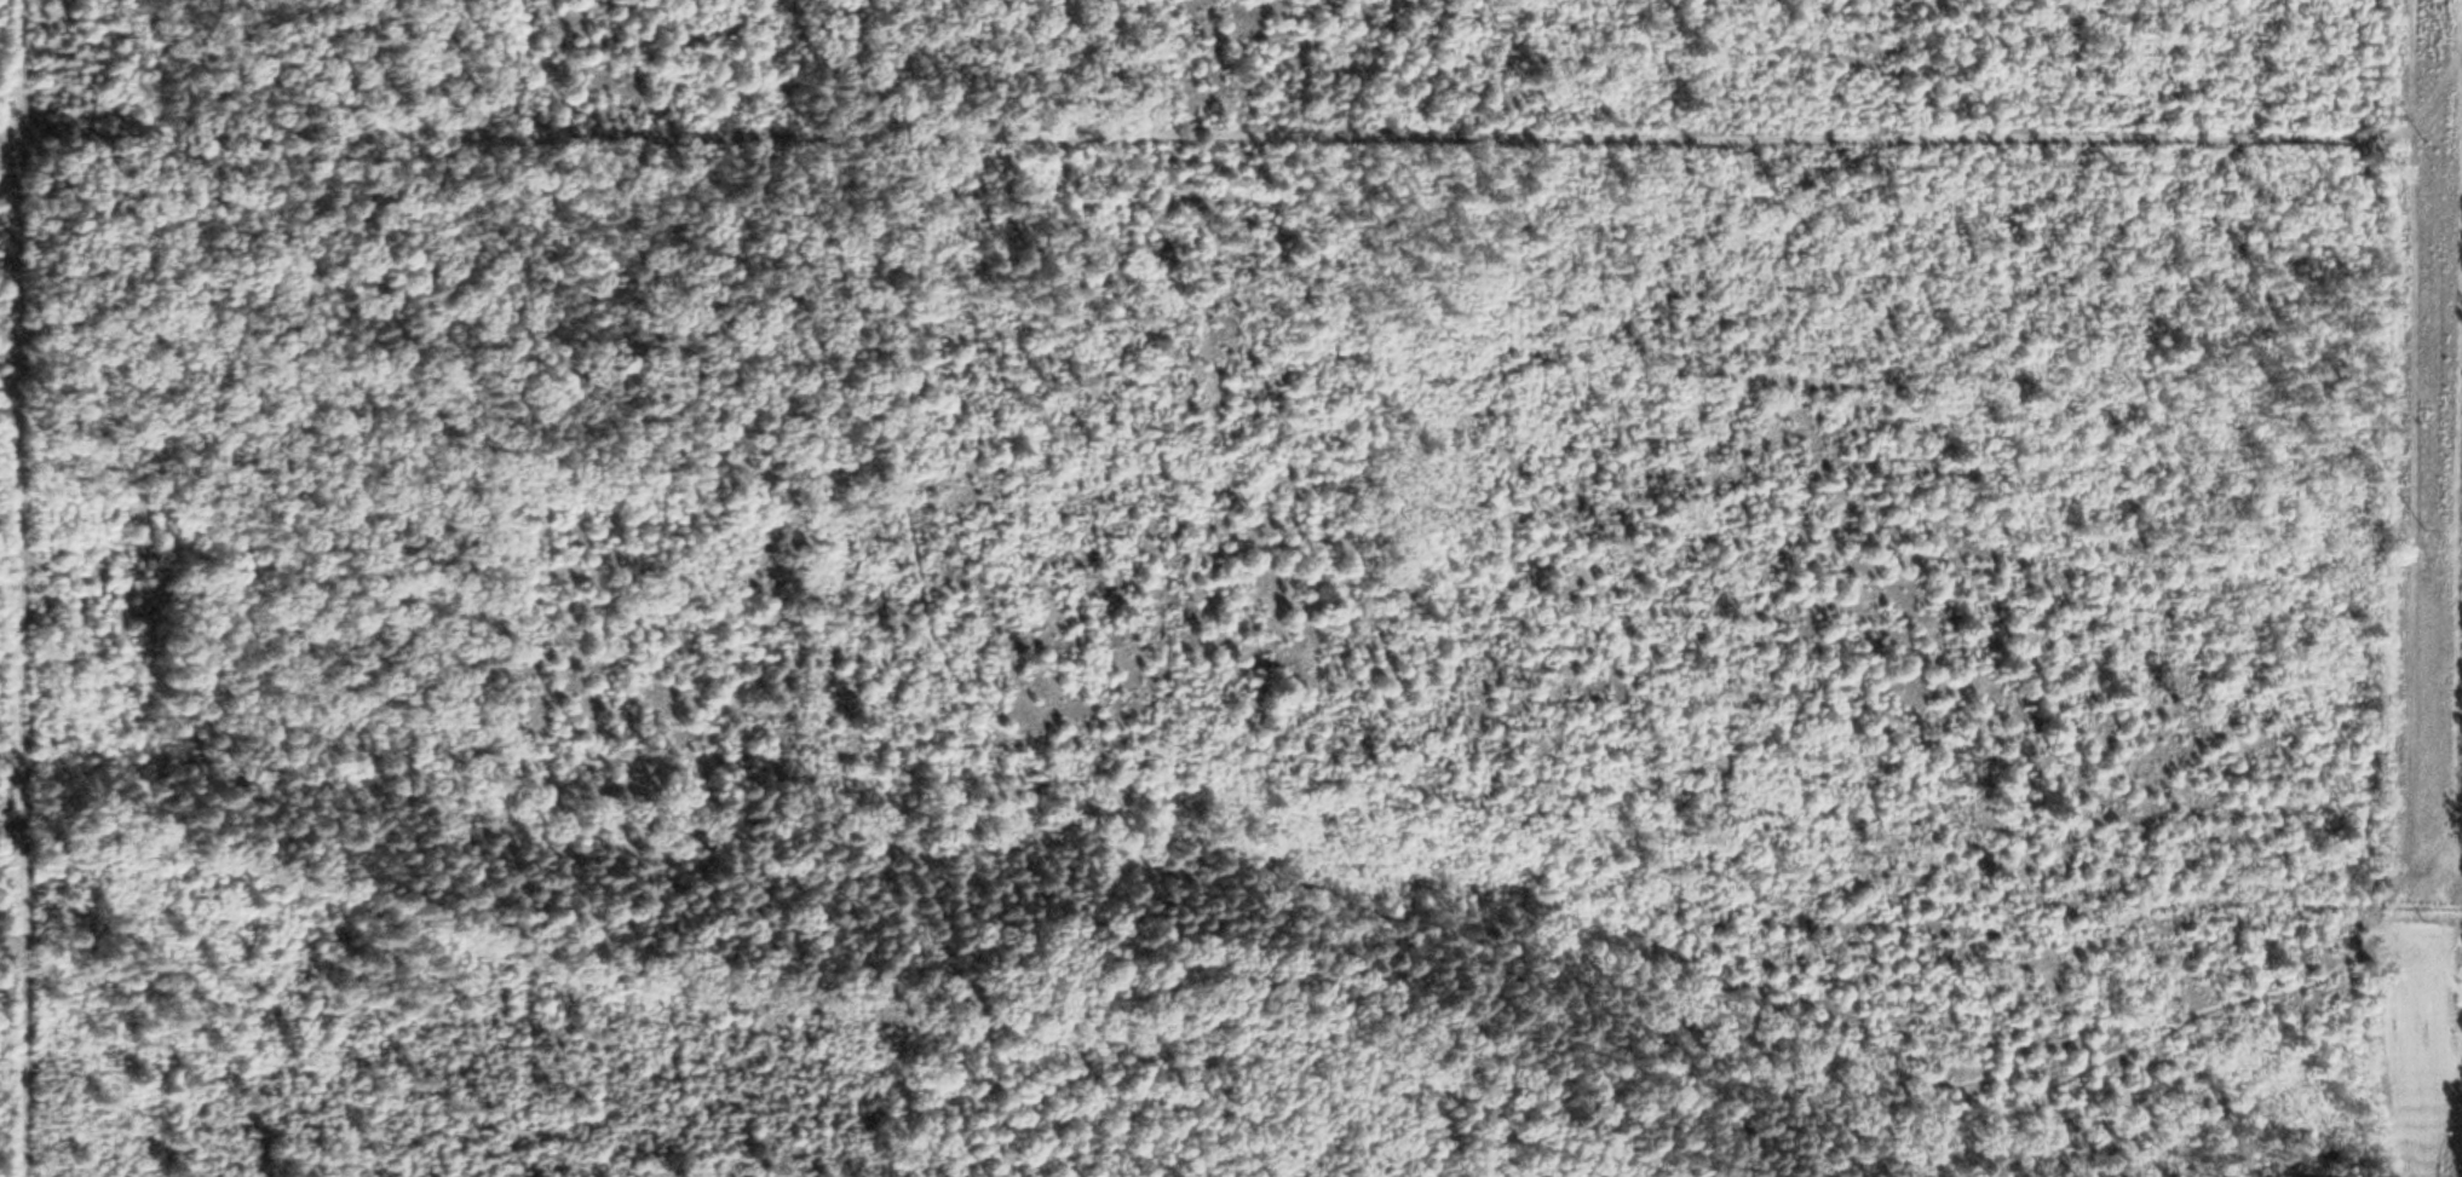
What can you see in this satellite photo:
road: (1724, 126)
road: (1382, 918)
road: (2446, 1126)
road: (1866, 1158)

